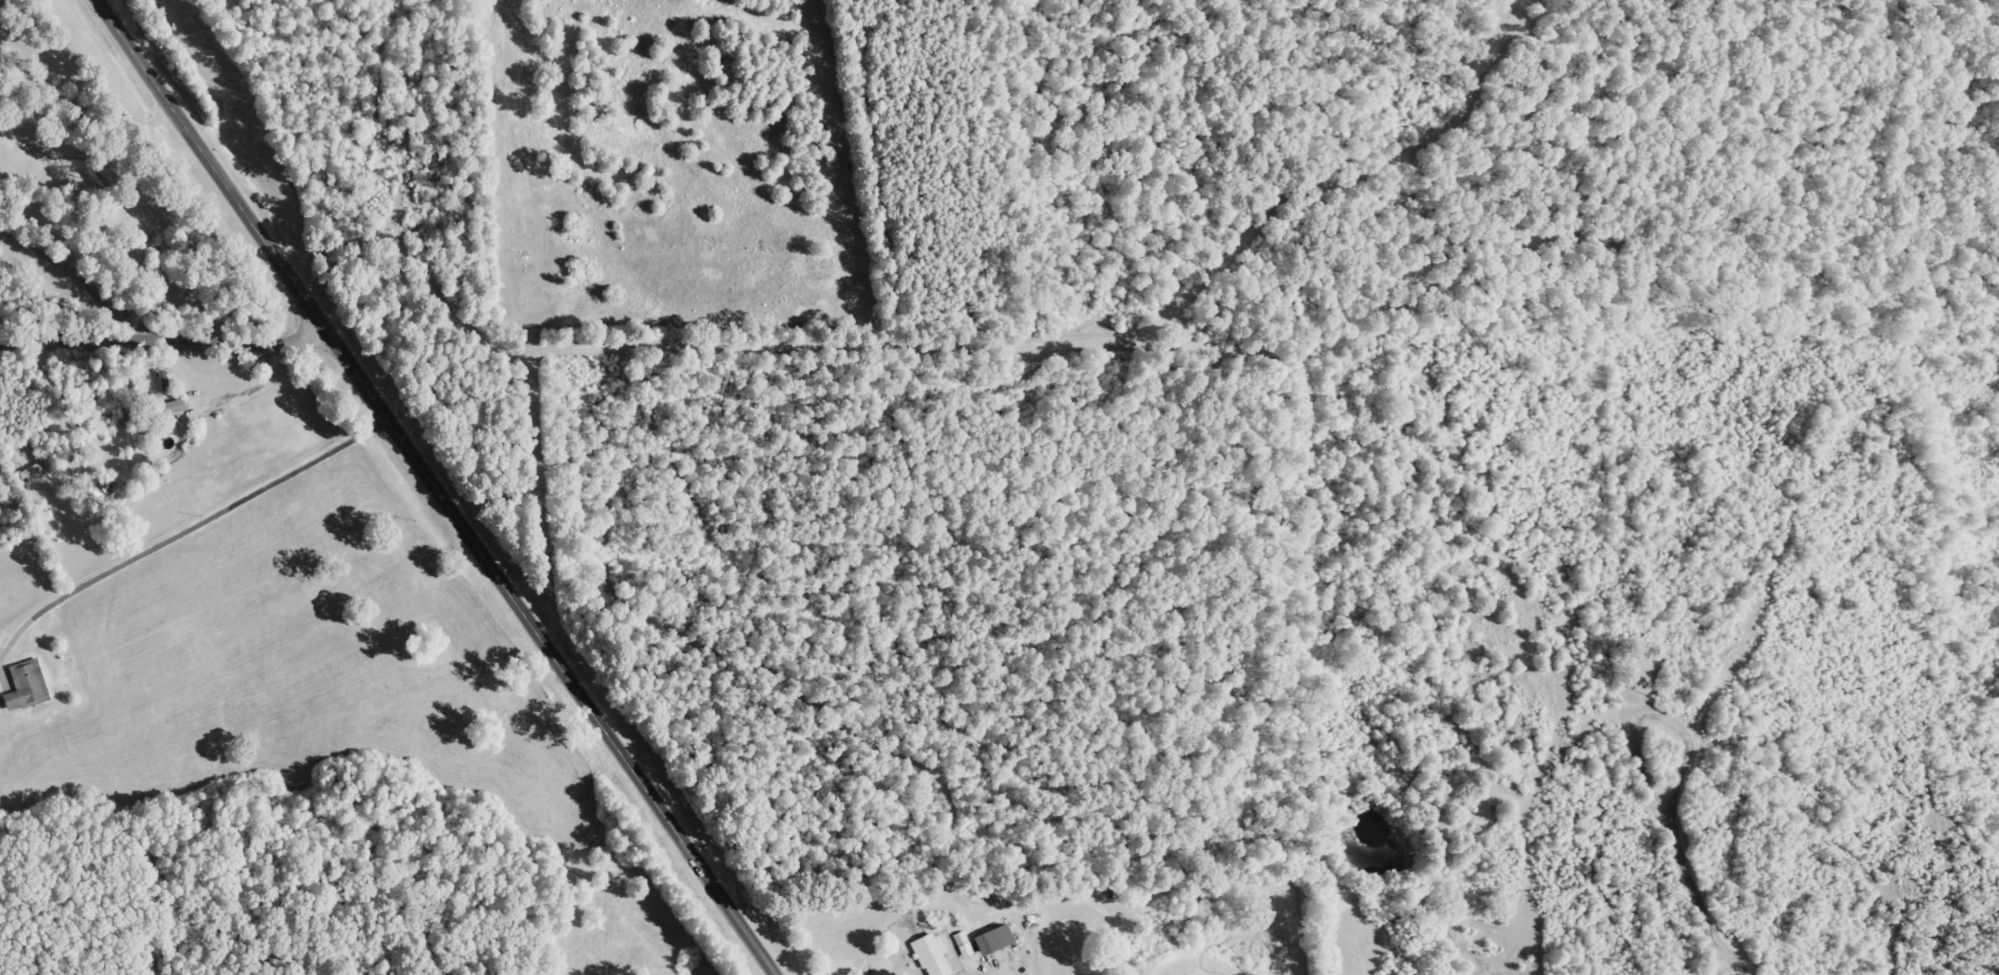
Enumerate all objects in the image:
road: (209, 169)
road: (164, 349)
building: (169, 406)
road: (552, 653)
building: (27, 686)
building: (995, 940)
building: (964, 945)
building: (932, 955)

